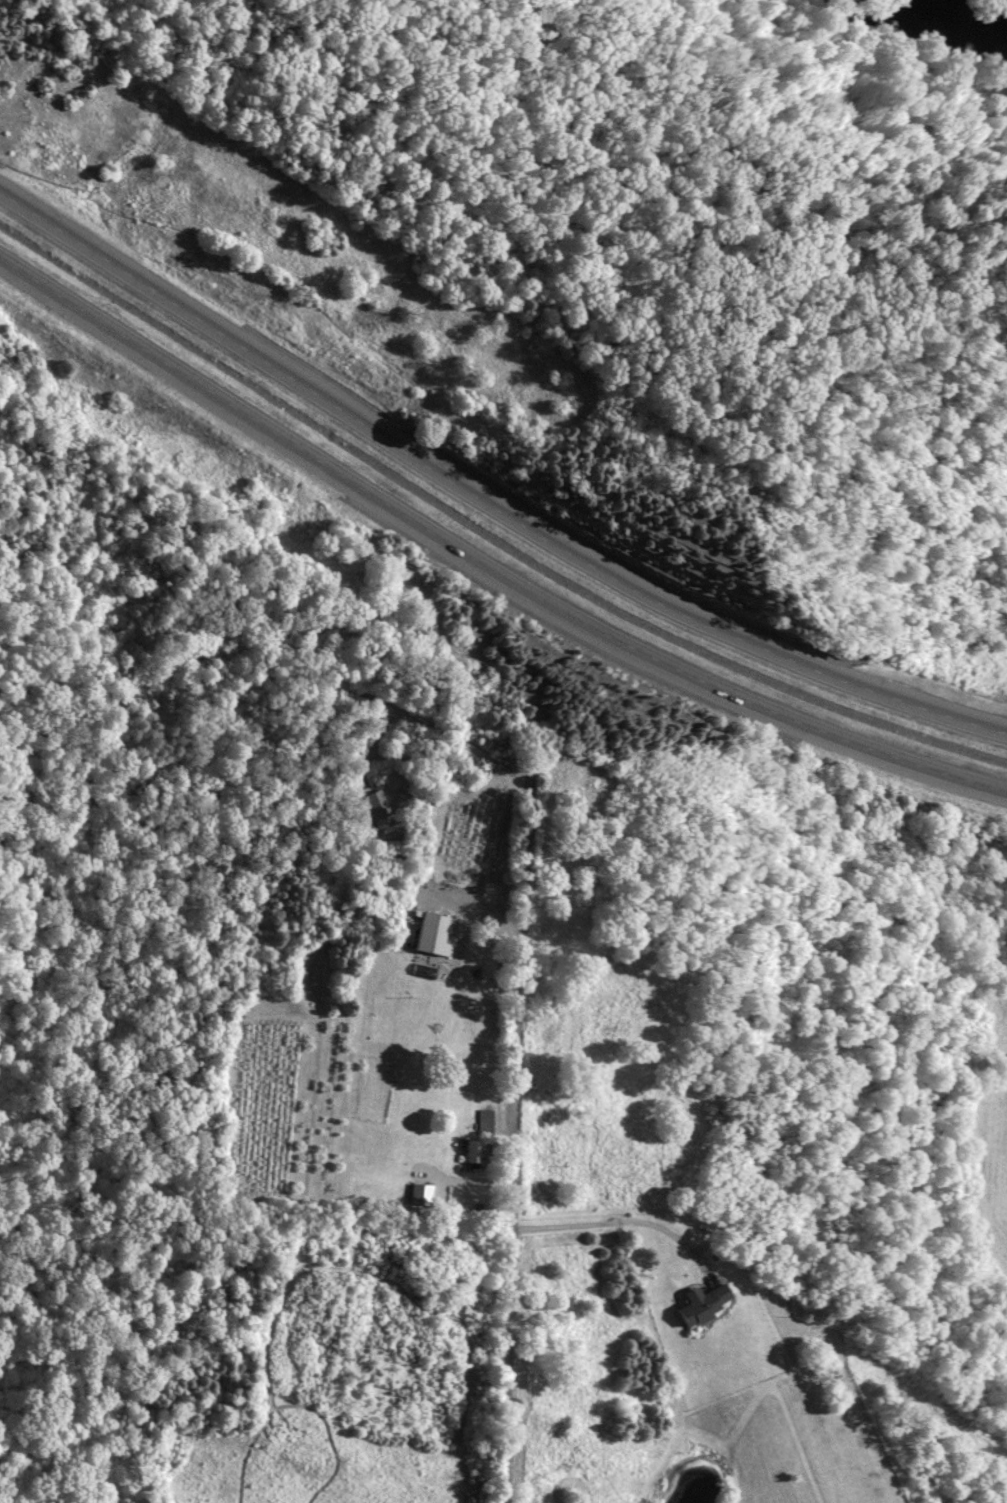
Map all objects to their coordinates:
river: (869, 19)
road: (485, 499)
road: (486, 562)
building: (425, 933)
building: (480, 1119)
road: (511, 1144)
building: (466, 1153)
building: (696, 1306)

